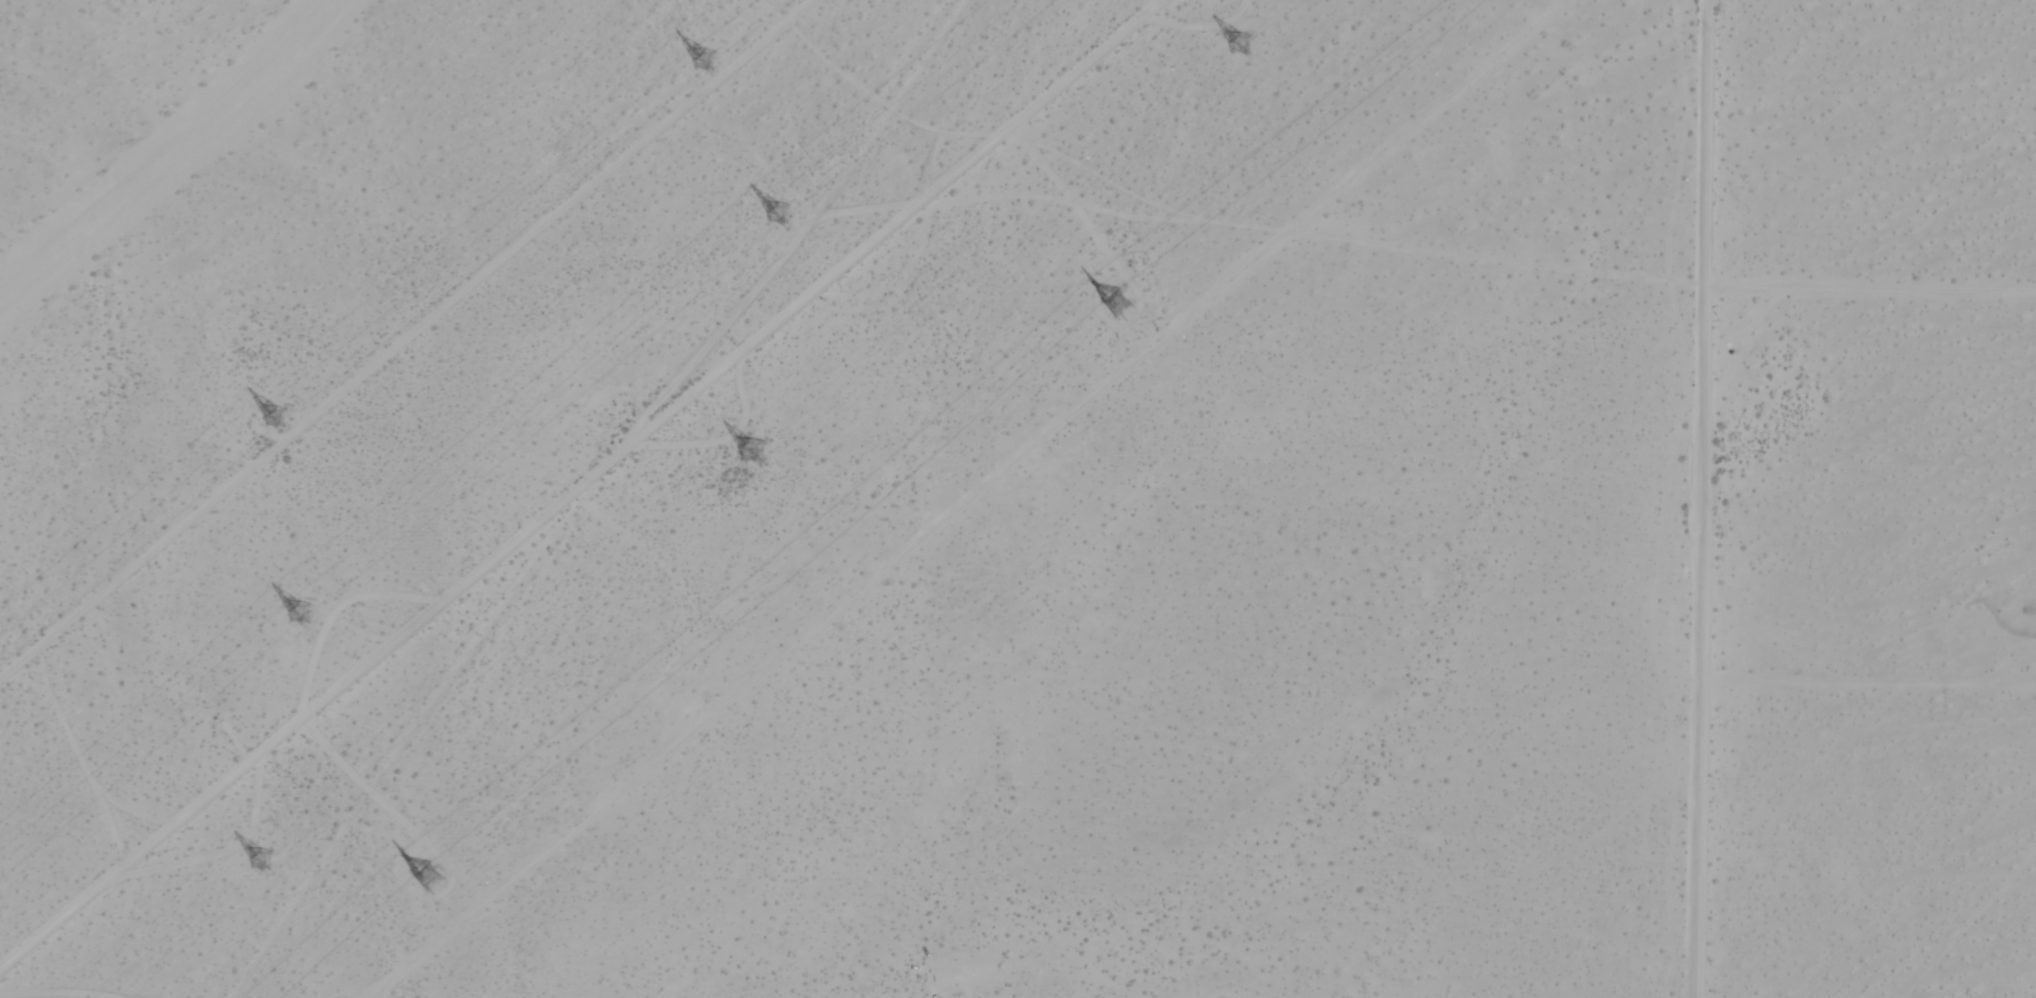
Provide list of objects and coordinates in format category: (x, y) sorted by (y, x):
power tower: (1242, 44)
power tower: (705, 58)
power tower: (785, 207)
road: (1872, 297)
power tower: (1118, 303)
power tower: (280, 417)
power tower: (754, 443)
road: (574, 486)
road: (1706, 499)
power tower: (296, 611)
power tower: (264, 855)
power tower: (431, 878)

